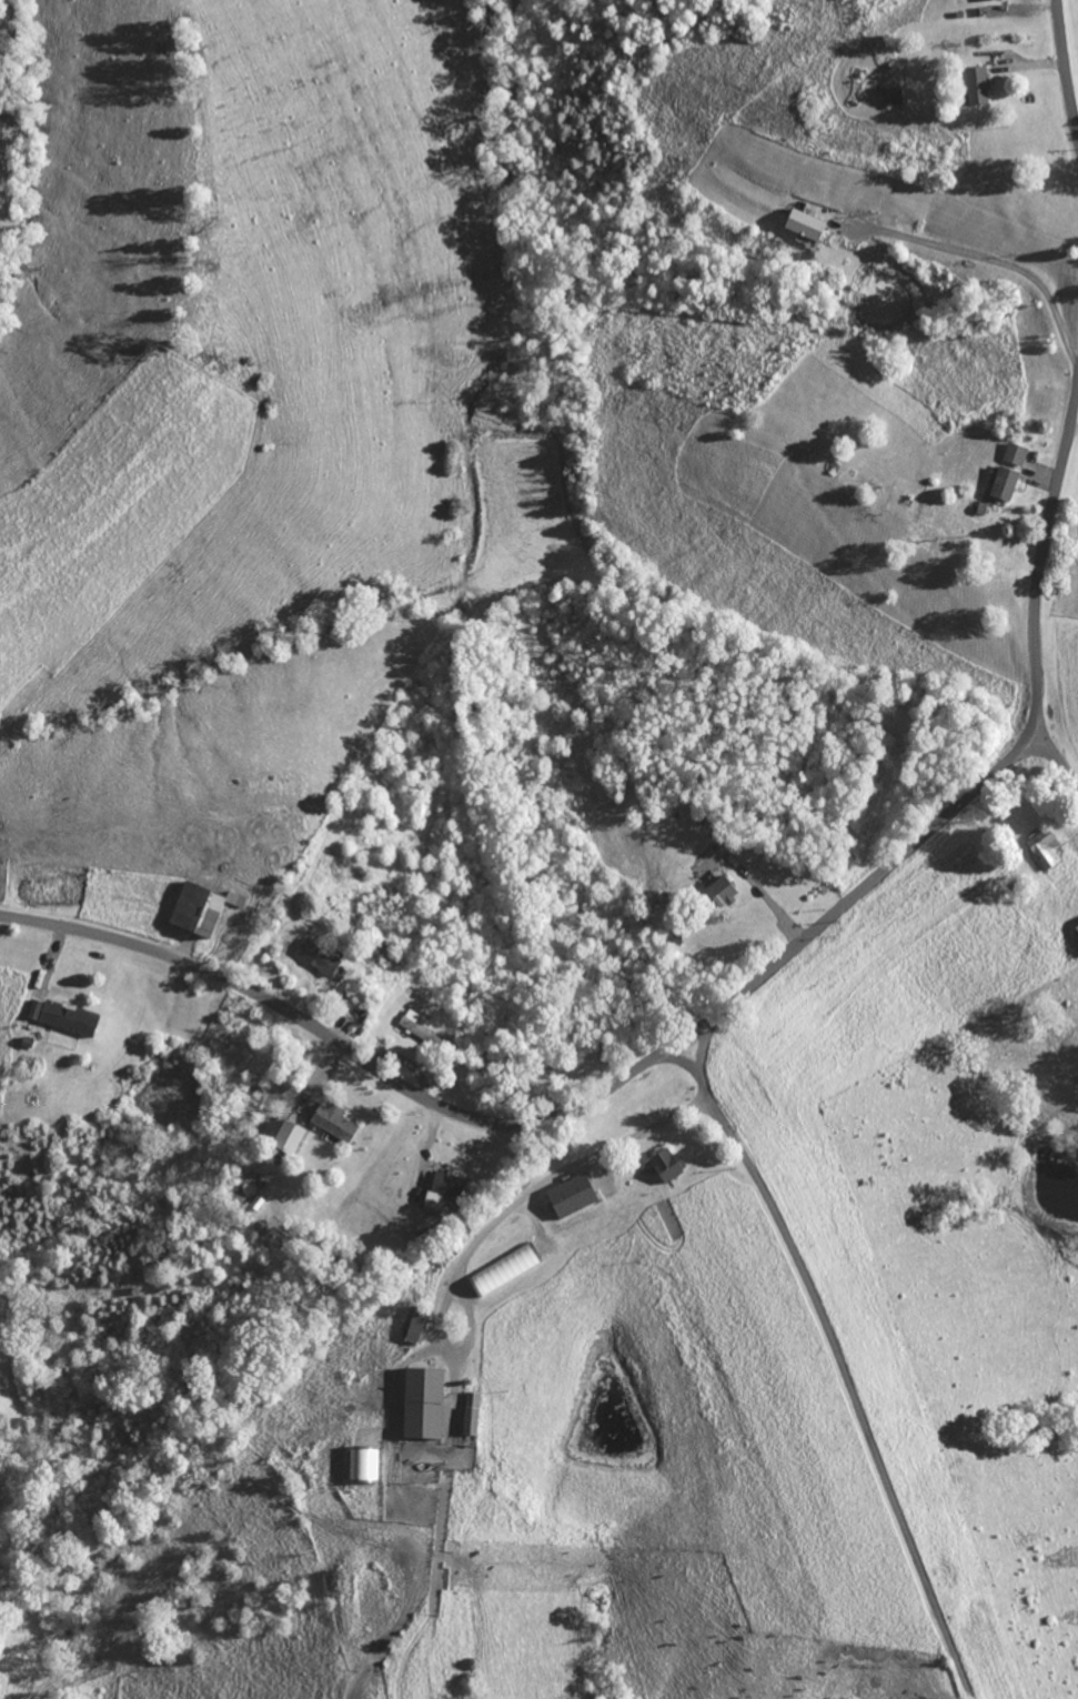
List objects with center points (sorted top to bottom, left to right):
road: (1067, 66)
building: (969, 84)
building: (798, 224)
road: (1004, 262)
building: (1010, 455)
building: (998, 484)
road: (1055, 758)
road: (985, 782)
building: (1040, 849)
building: (717, 892)
building: (189, 912)
building: (313, 957)
building: (31, 1009)
building: (64, 1019)
road: (685, 1036)
road: (355, 1053)
building: (330, 1122)
building: (282, 1137)
building: (661, 1164)
building: (442, 1184)
building: (565, 1195)
building: (427, 1199)
building: (500, 1271)
building: (412, 1327)
road: (848, 1385)
building: (416, 1403)
building: (467, 1413)
building: (361, 1464)

